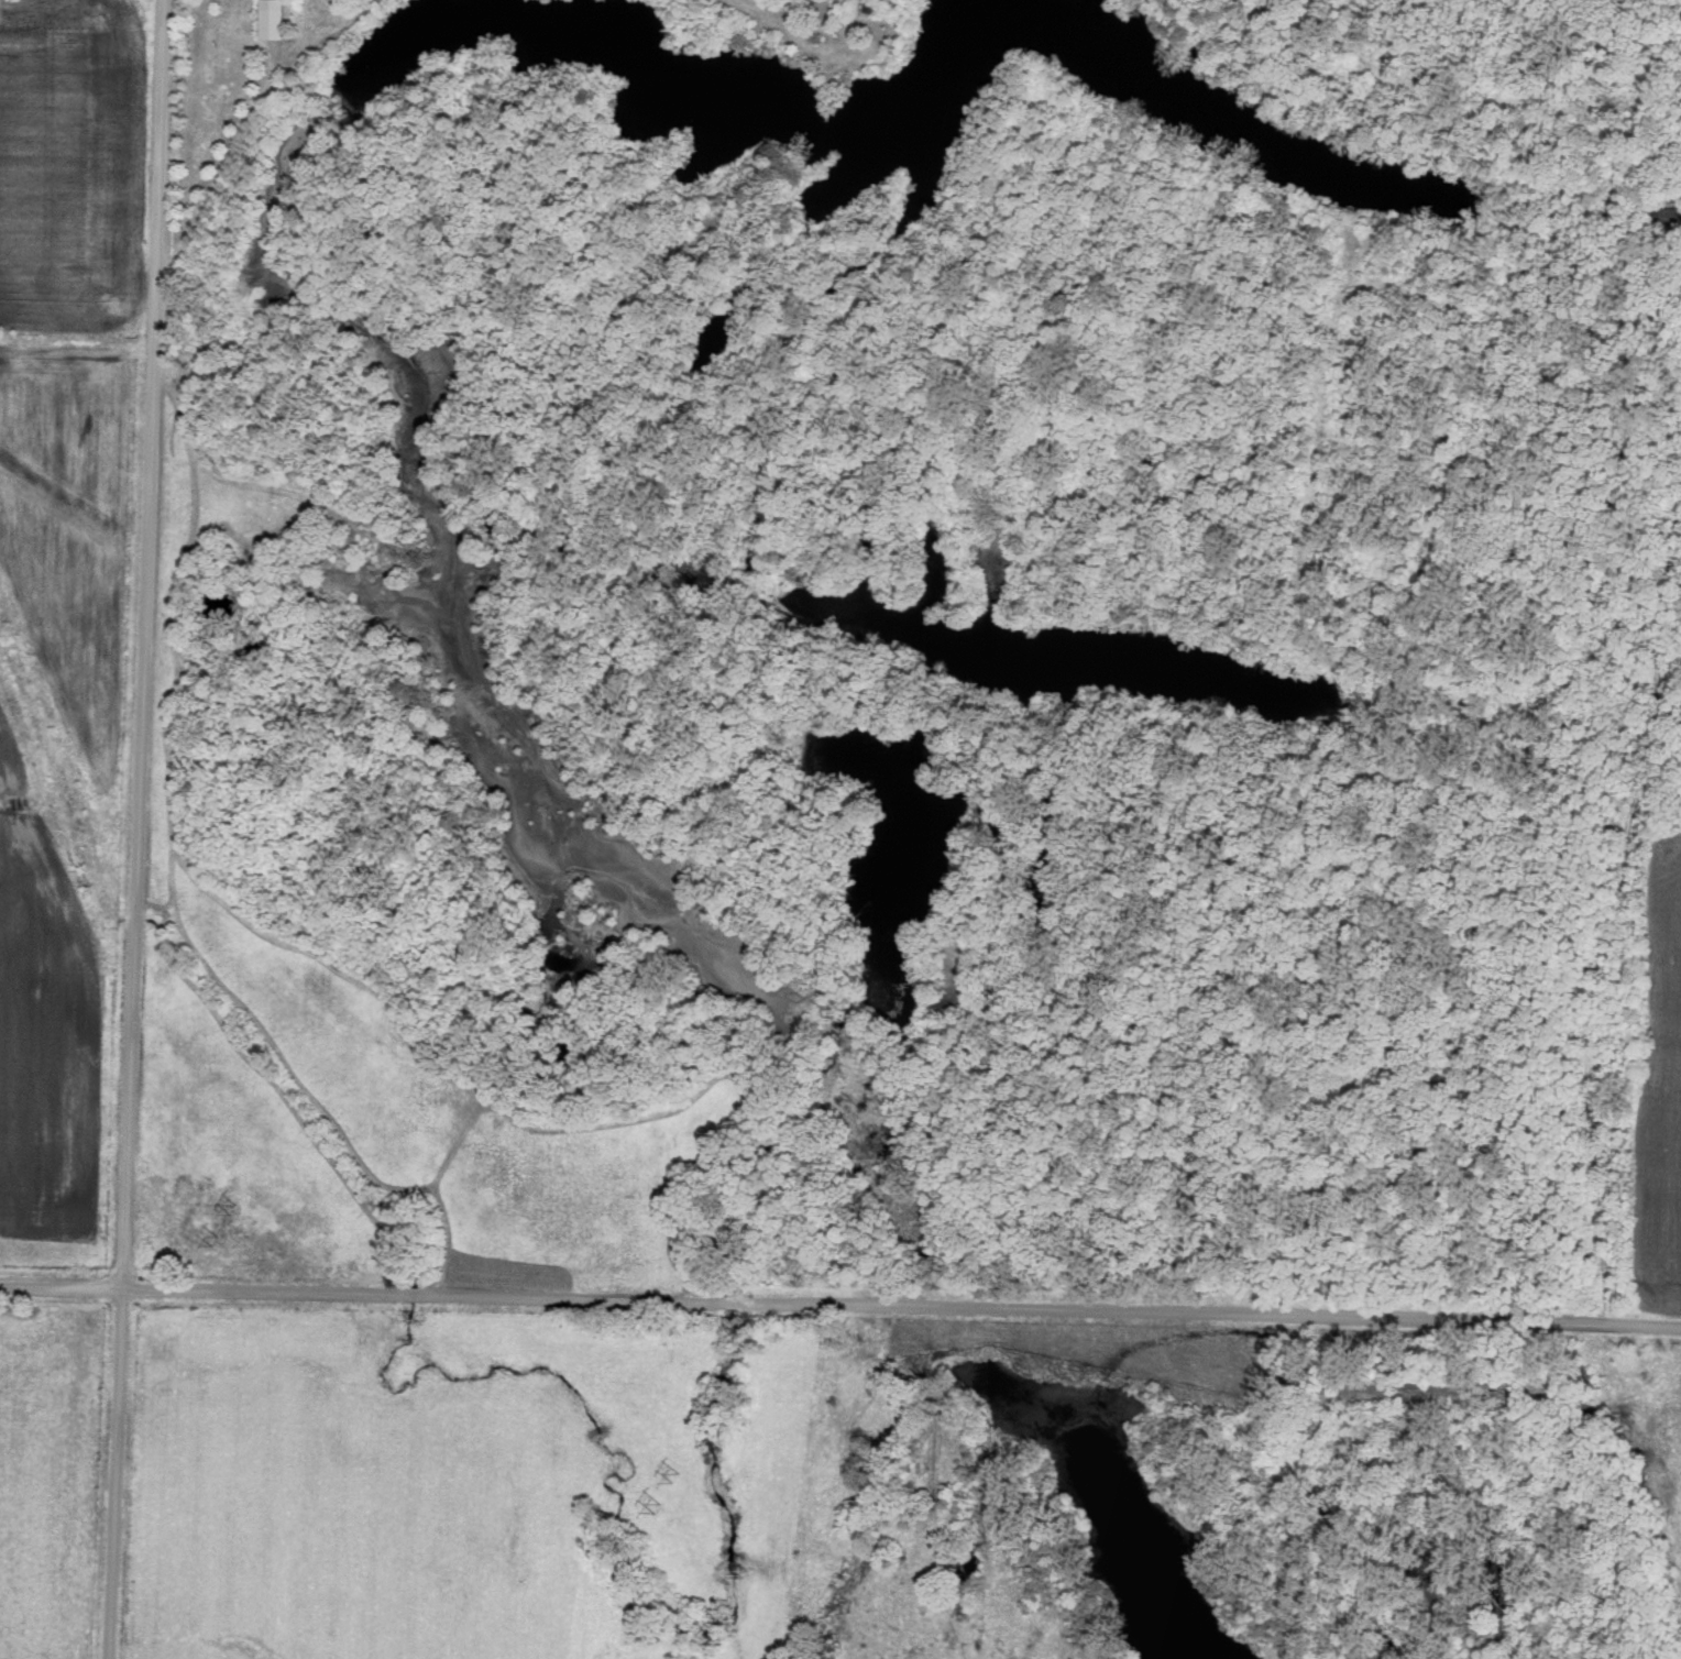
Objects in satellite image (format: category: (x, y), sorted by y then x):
building: (271, 20)
road: (1659, 332)
road: (140, 829)
road: (1622, 899)
power tower: (230, 1204)
power tower: (211, 1237)
road: (1664, 1295)
road: (840, 1317)
power tower: (675, 1474)
power tower: (655, 1504)

